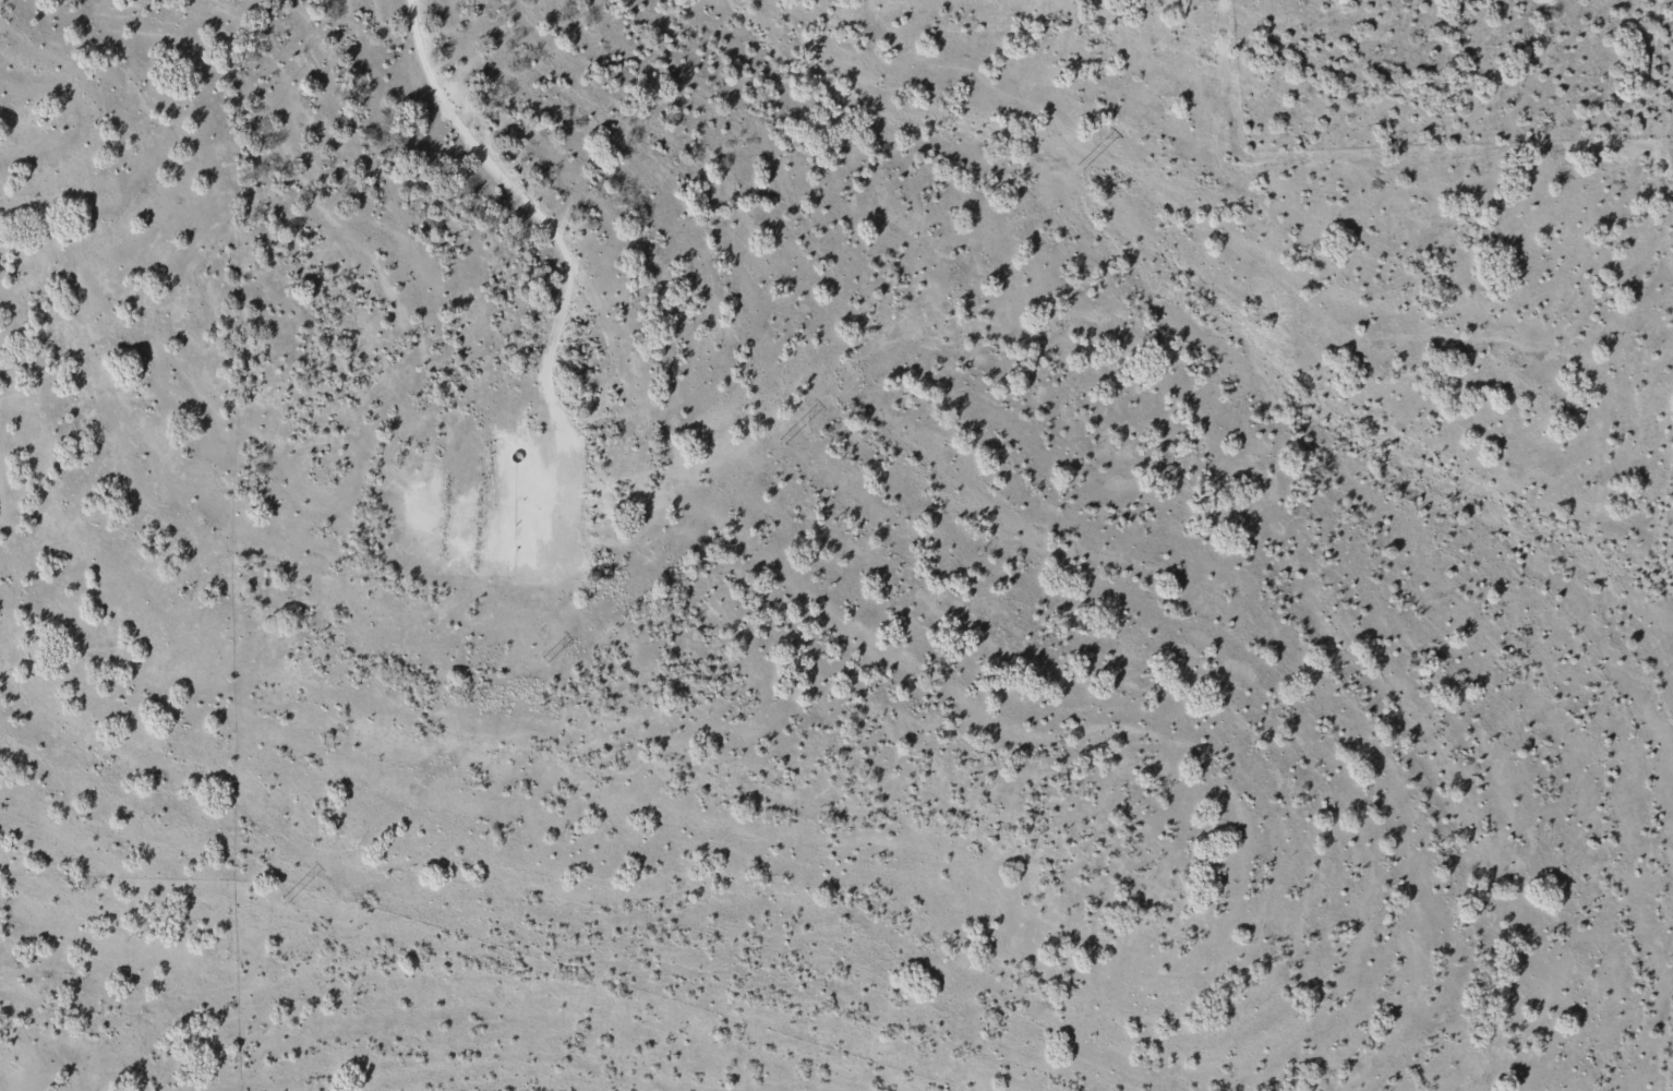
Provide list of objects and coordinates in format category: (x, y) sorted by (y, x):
power tower: (1051, 171)
road: (542, 230)
power tower: (780, 443)
power tower: (544, 662)
power tower: (281, 901)

